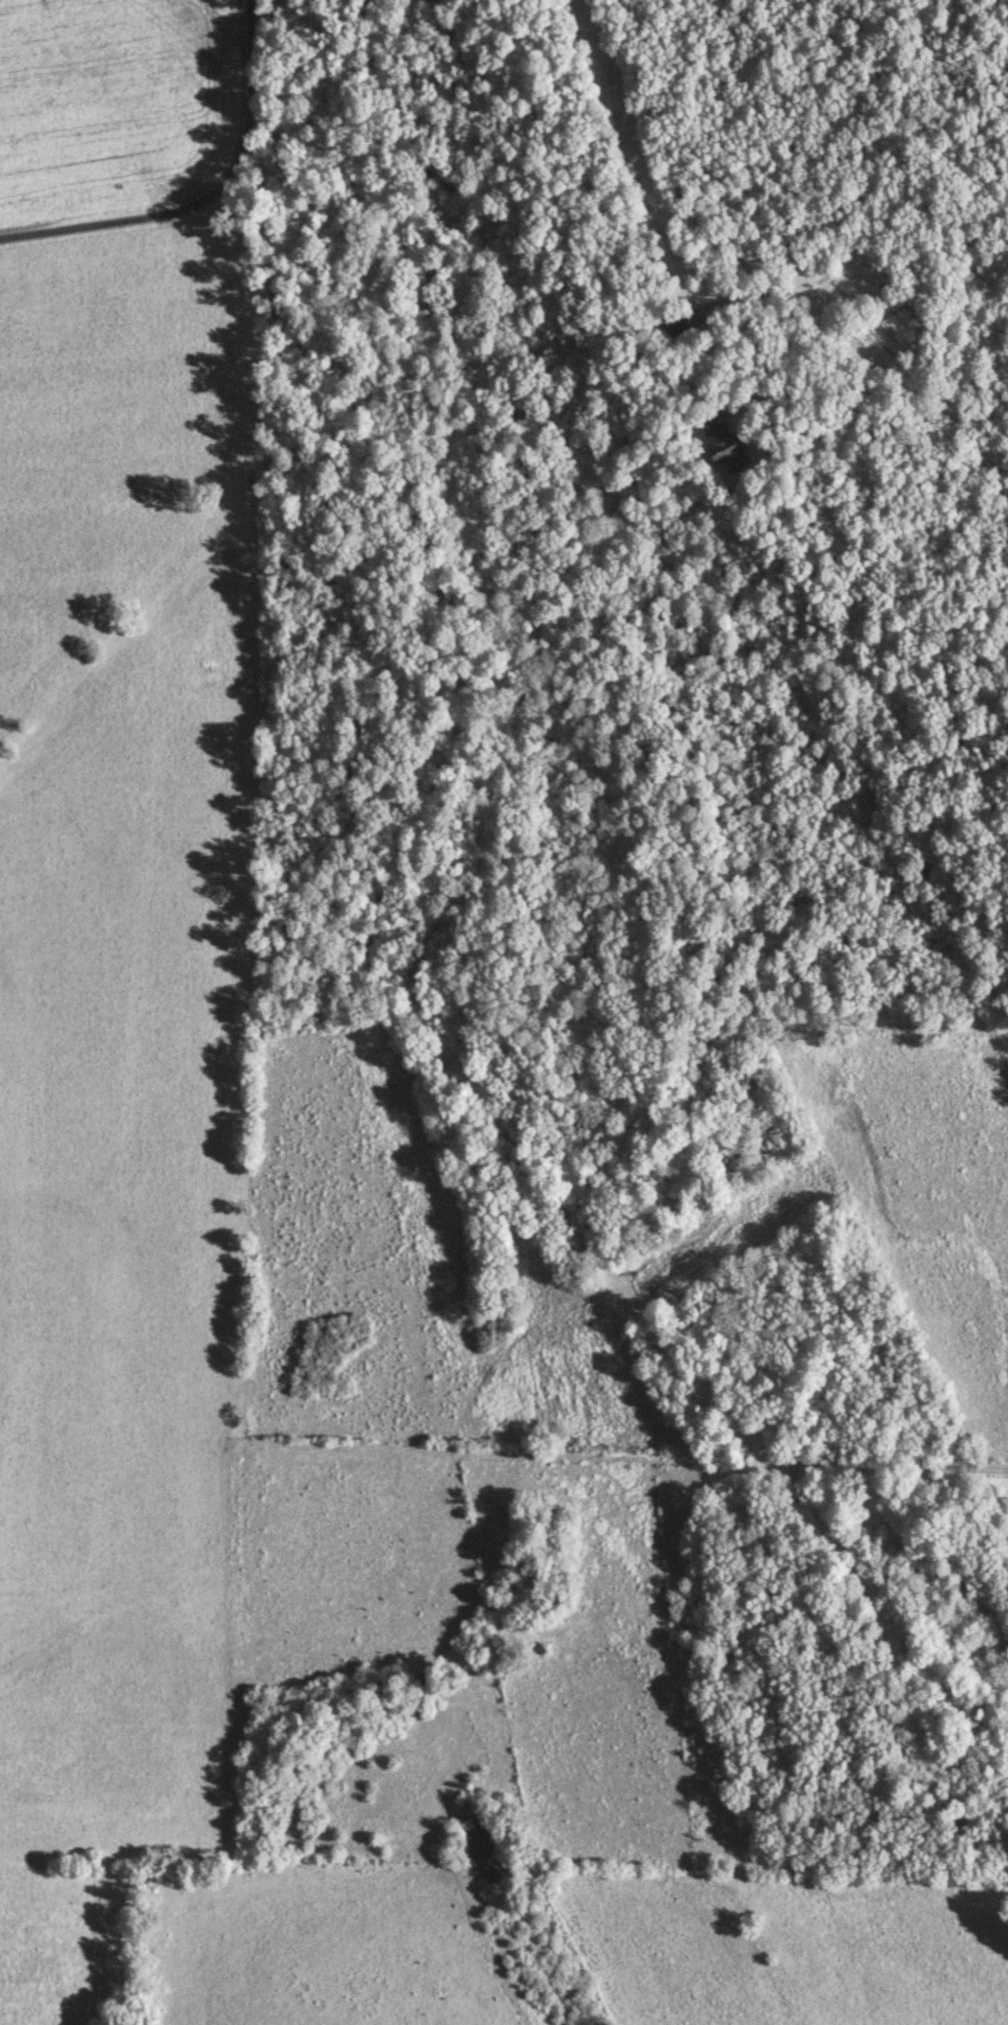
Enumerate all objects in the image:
road: (621, 192)
road: (211, 200)
building: (682, 328)
building: (731, 442)

